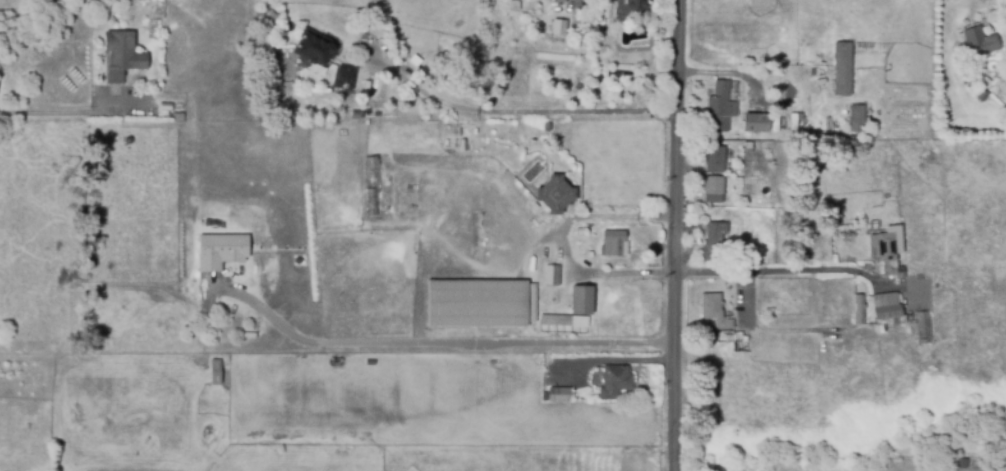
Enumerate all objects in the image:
building: (562, 0)
building: (515, 4)
building: (629, 7)
building: (558, 28)
building: (981, 44)
building: (319, 50)
building: (123, 54)
building: (843, 67)
building: (346, 76)
building: (167, 105)
building: (723, 106)
road: (59, 112)
road: (521, 112)
building: (357, 113)
building: (858, 120)
building: (757, 121)
building: (548, 126)
building: (342, 132)
building: (717, 158)
building: (371, 185)
building: (714, 188)
building: (556, 193)
road: (674, 235)
building: (715, 240)
road: (567, 241)
building: (615, 243)
building: (890, 249)
building: (220, 251)
building: (868, 265)
road: (764, 270)
building: (552, 274)
building: (583, 299)
building: (478, 302)
building: (890, 308)
building: (715, 309)
building: (859, 309)
building: (556, 323)
building: (924, 326)
road: (433, 342)
road: (737, 345)
building: (217, 370)
building: (616, 380)
building: (560, 393)
building: (963, 462)

